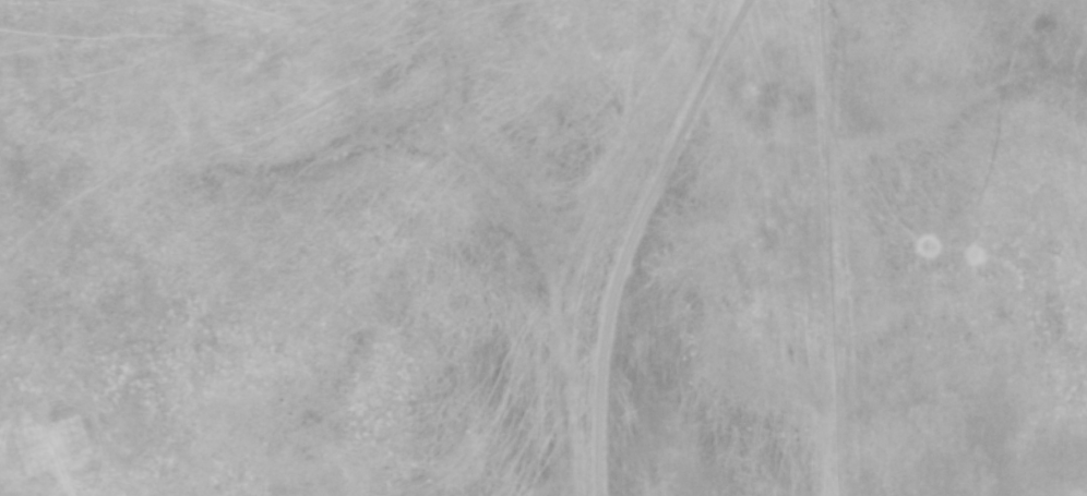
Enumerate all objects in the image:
road: (631, 235)

